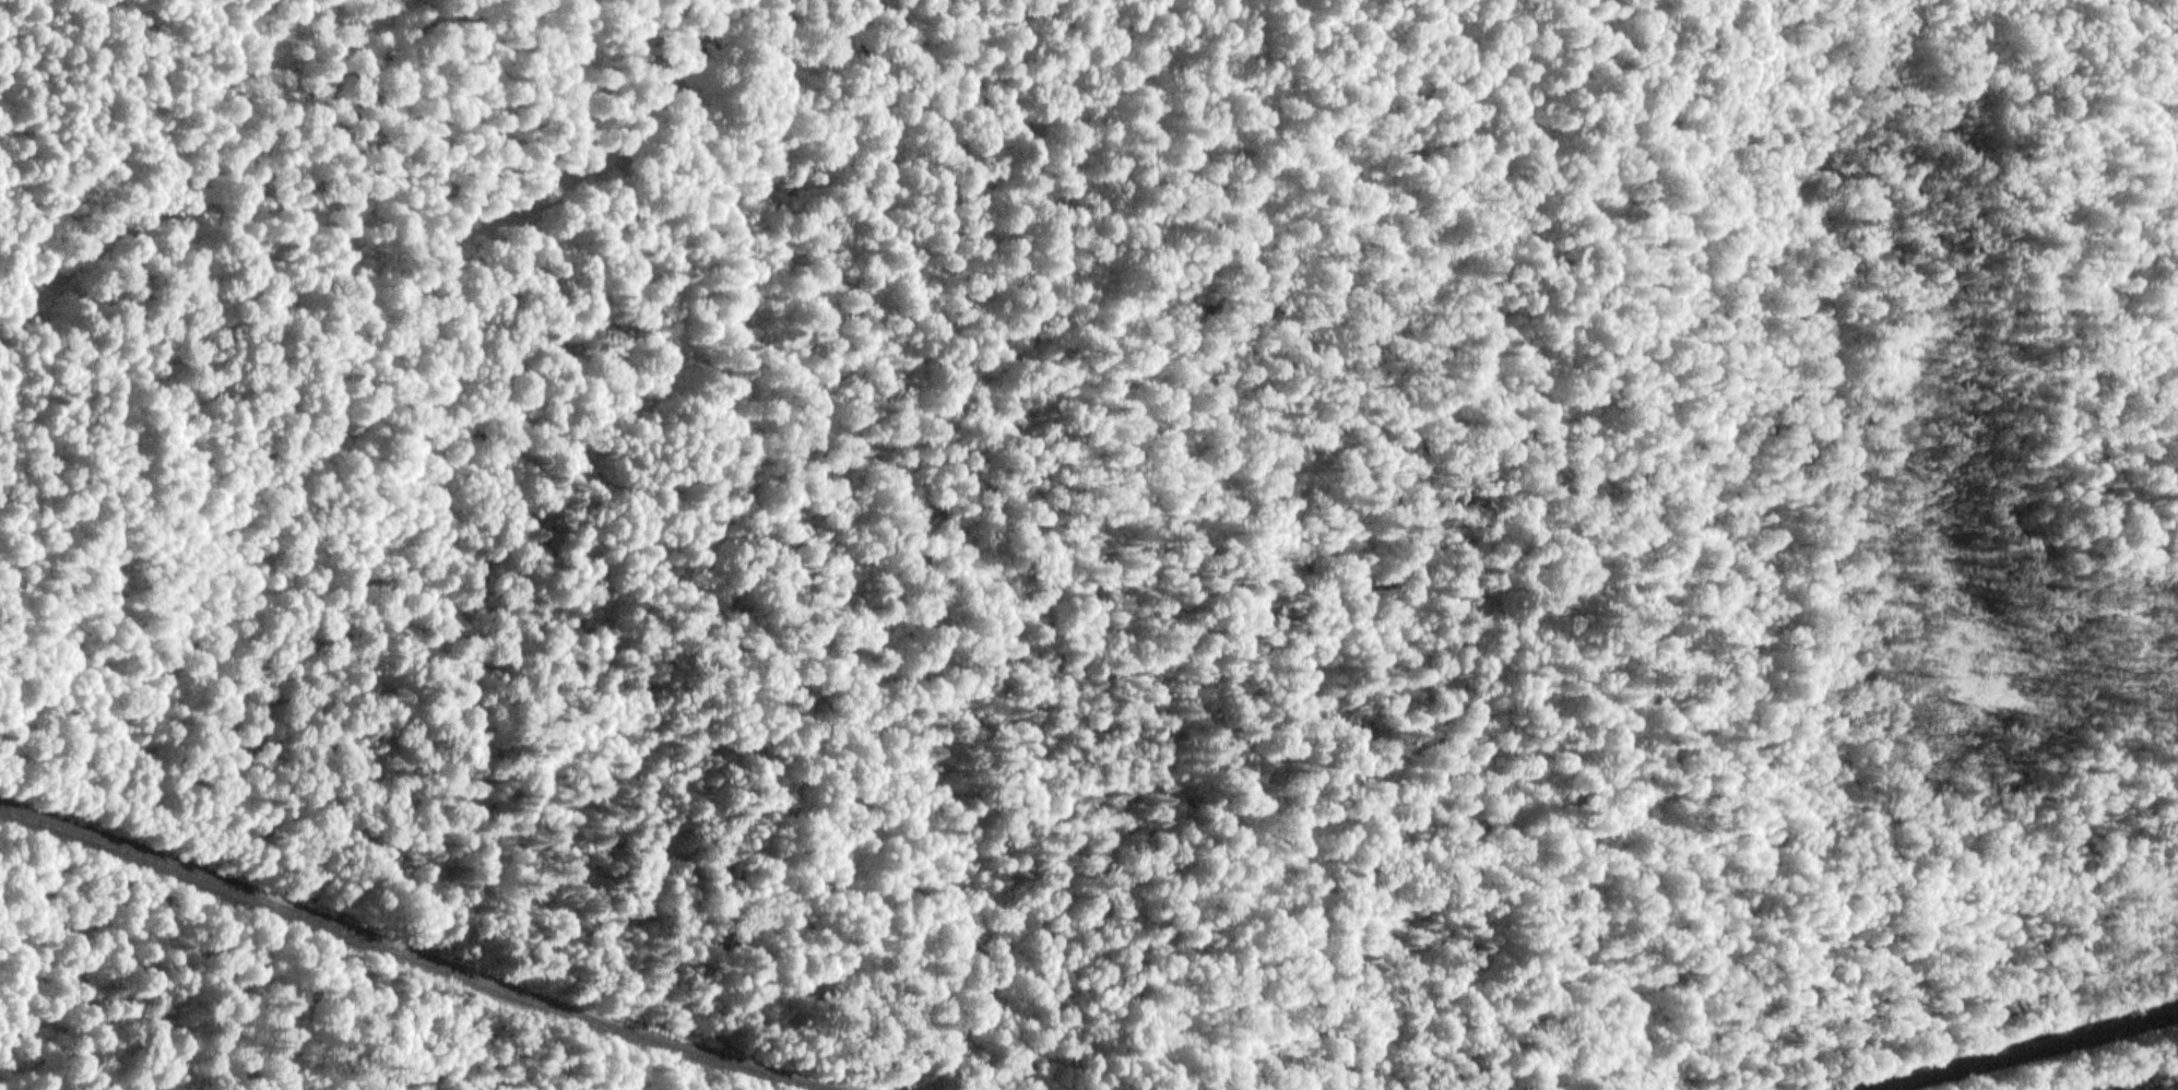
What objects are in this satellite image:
railway: (404, 958)
railway: (2024, 1051)

